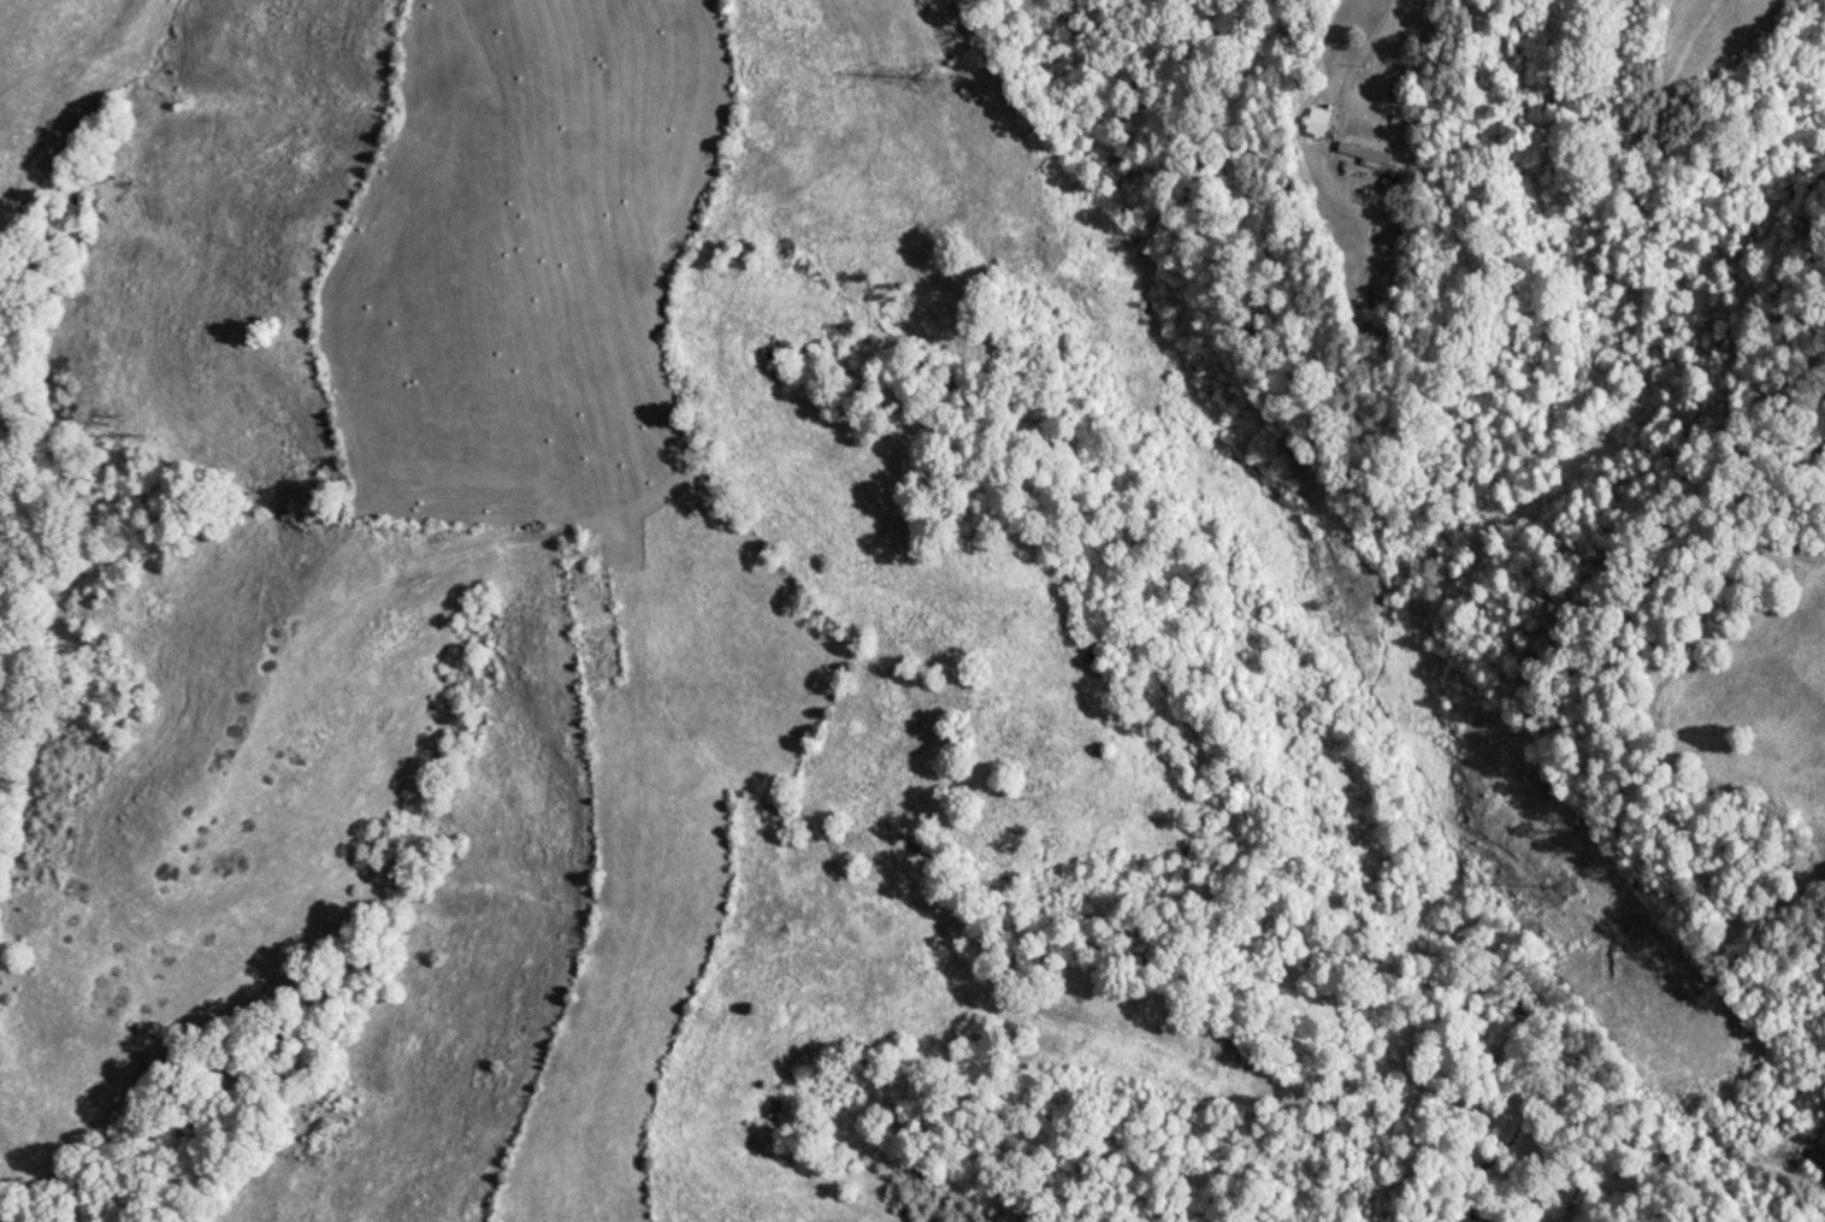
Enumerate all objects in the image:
road: (1401, 26)
building: (1317, 124)
building: (1364, 134)

